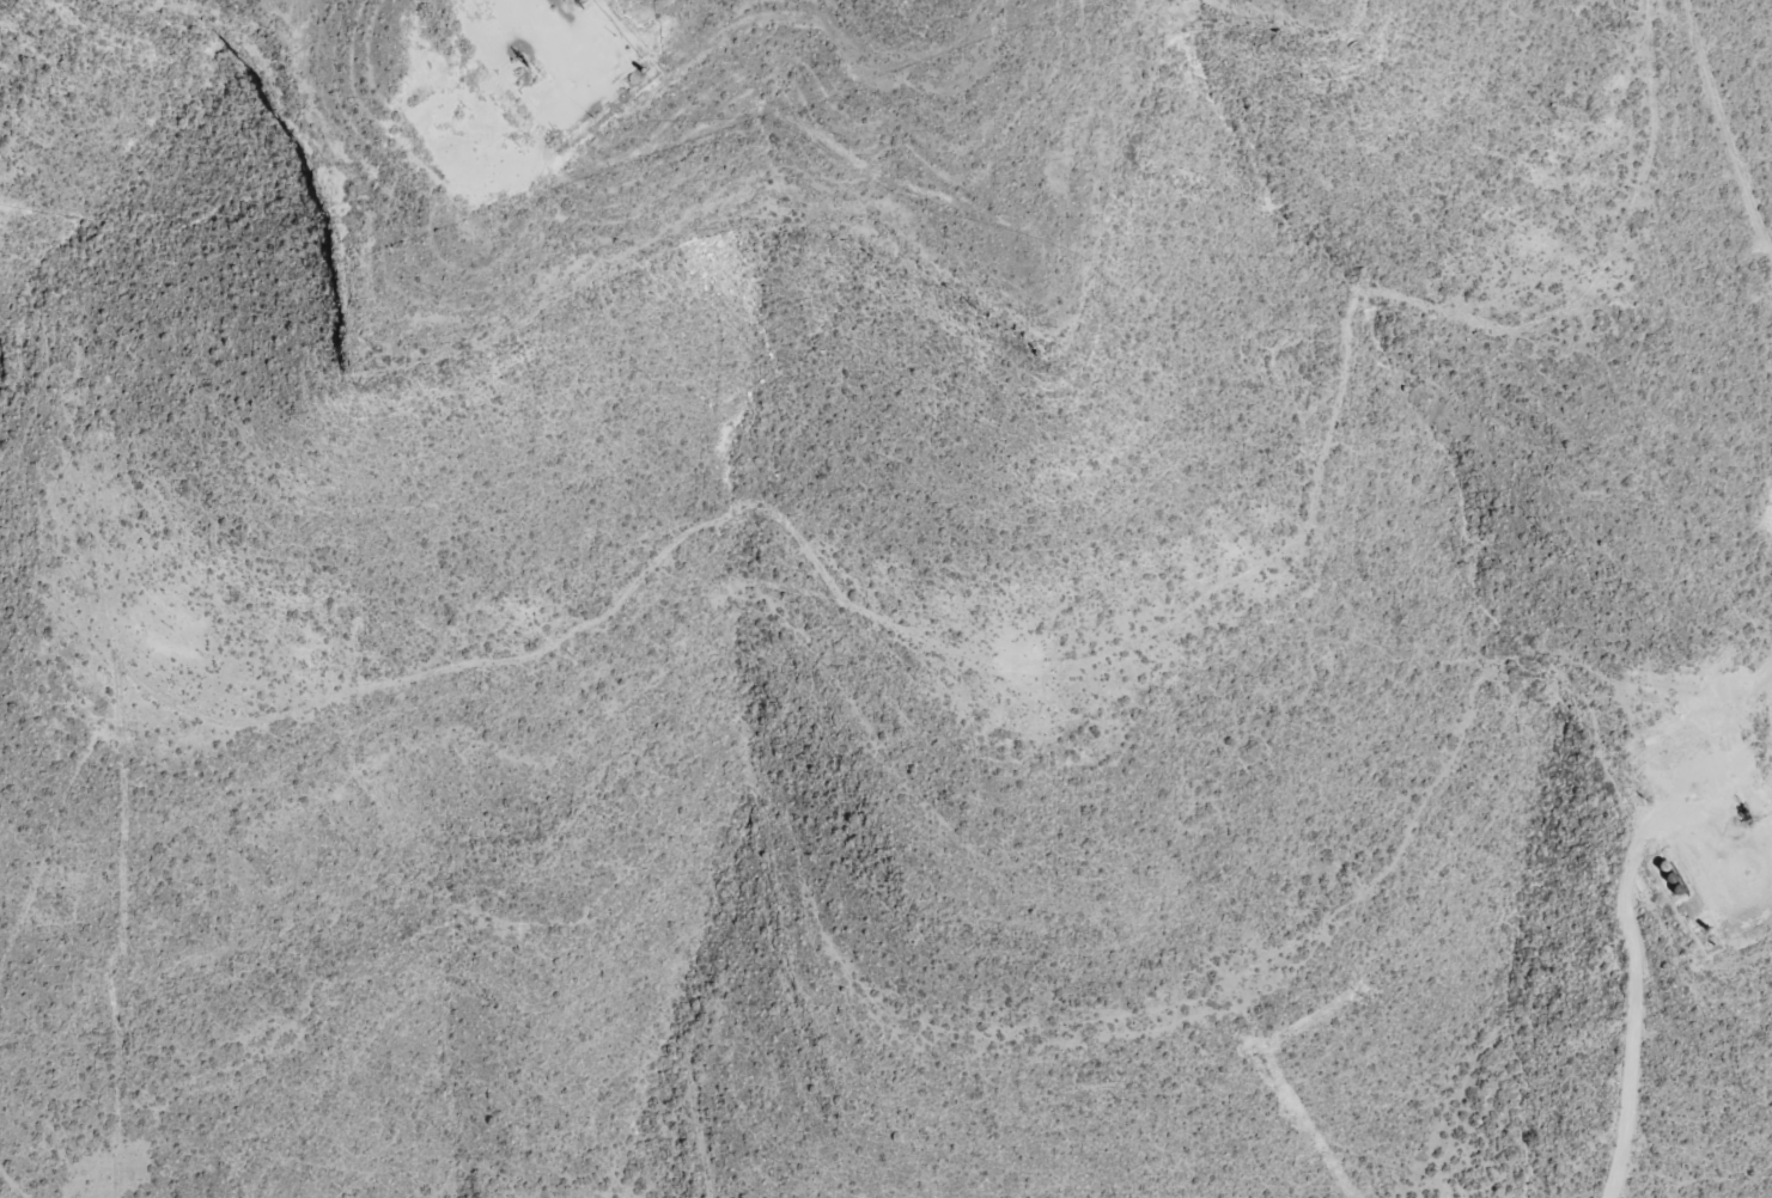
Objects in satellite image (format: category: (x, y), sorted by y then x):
road: (1662, 949)

